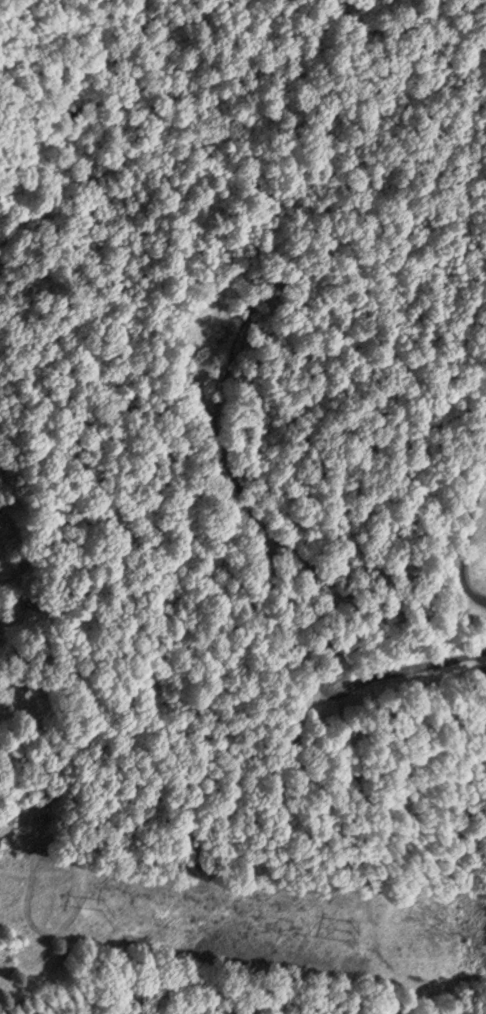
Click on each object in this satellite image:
road: (413, 666)

